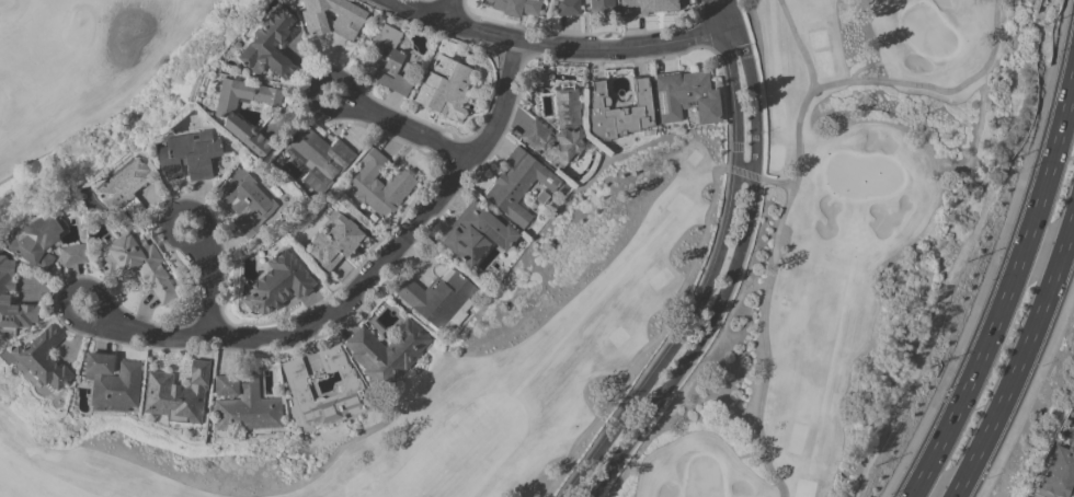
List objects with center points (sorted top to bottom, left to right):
building: (601, 5)
building: (516, 7)
building: (569, 7)
building: (649, 7)
road: (445, 9)
road: (724, 14)
building: (333, 18)
road: (799, 43)
building: (270, 45)
road: (559, 45)
building: (387, 61)
park: (79, 68)
building: (447, 86)
road: (936, 88)
road: (313, 89)
building: (686, 96)
building: (620, 109)
building: (228, 116)
road: (408, 129)
building: (559, 130)
building: (188, 154)
building: (318, 158)
building: (124, 184)
building: (380, 184)
building: (517, 185)
building: (247, 201)
road: (176, 210)
building: (476, 233)
building: (38, 239)
building: (335, 241)
building: (72, 254)
road: (995, 255)
building: (138, 264)
road: (365, 279)
road: (729, 279)
road: (707, 281)
building: (278, 284)
road: (1010, 284)
road: (212, 287)
road: (767, 291)
park: (697, 292)
road: (68, 294)
building: (436, 296)
building: (4, 297)
building: (386, 351)
building: (43, 358)
road: (1022, 361)
building: (113, 380)
building: (298, 388)
road: (1029, 391)
building: (176, 394)
building: (243, 403)
building: (1059, 472)

